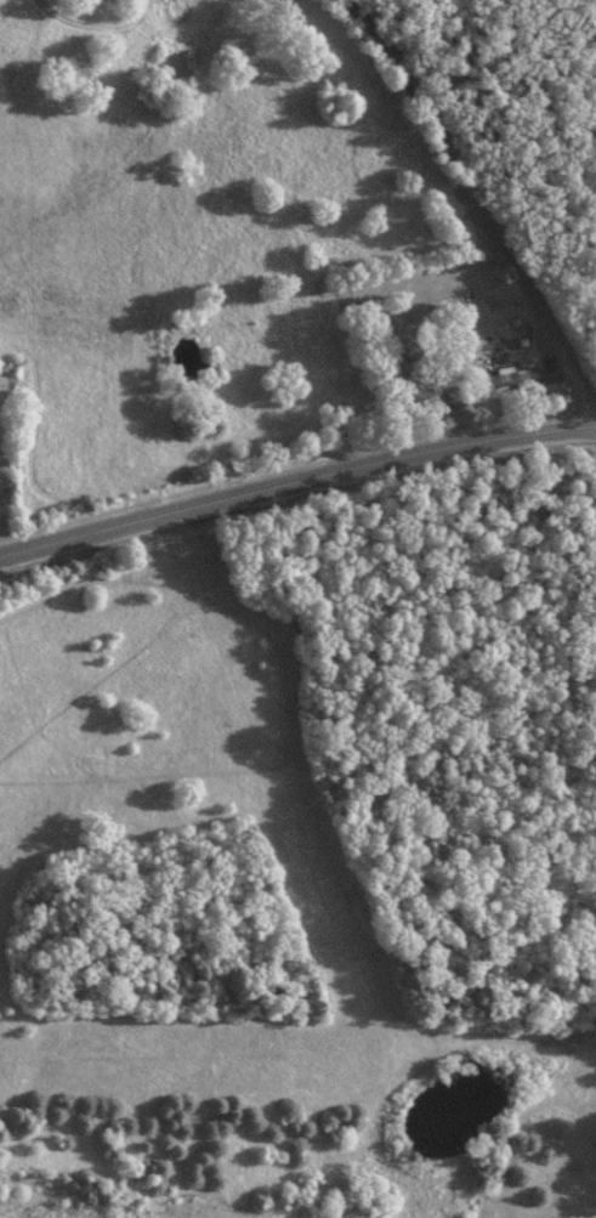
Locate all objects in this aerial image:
road: (484, 180)
building: (516, 376)
road: (295, 480)
power tower: (174, 551)
power tower: (307, 879)

